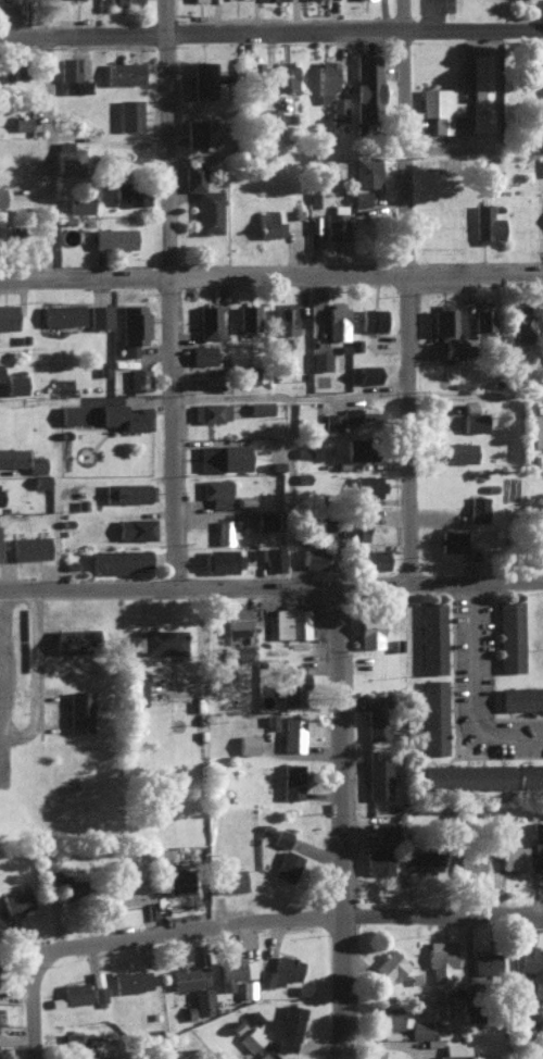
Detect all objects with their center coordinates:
building: (202, 0)
building: (124, 1)
road: (271, 38)
building: (67, 67)
building: (123, 72)
building: (283, 75)
building: (203, 78)
building: (325, 80)
building: (77, 86)
building: (367, 87)
building: (480, 91)
building: (542, 96)
building: (439, 107)
building: (338, 108)
building: (128, 114)
building: (271, 120)
building: (22, 122)
building: (194, 132)
road: (63, 139)
road: (121, 152)
road: (479, 154)
building: (67, 155)
building: (366, 171)
building: (484, 171)
building: (130, 191)
building: (1, 196)
building: (359, 196)
building: (202, 198)
building: (79, 202)
building: (485, 221)
building: (268, 223)
building: (334, 224)
building: (113, 236)
road: (270, 276)
road: (418, 289)
road: (179, 292)
building: (62, 312)
building: (8, 314)
building: (99, 314)
building: (248, 314)
building: (482, 314)
building: (283, 317)
building: (371, 317)
building: (337, 319)
building: (207, 320)
building: (443, 320)
building: (523, 320)
building: (132, 326)
building: (452, 346)
building: (202, 352)
building: (319, 359)
building: (0, 371)
building: (249, 372)
building: (367, 372)
building: (139, 377)
building: (14, 382)
road: (481, 400)
road: (300, 402)
road: (135, 406)
building: (260, 406)
building: (210, 410)
building: (68, 412)
building: (357, 413)
building: (126, 415)
building: (472, 416)
building: (331, 418)
building: (536, 431)
building: (359, 447)
building: (458, 450)
building: (12, 453)
building: (220, 454)
building: (35, 463)
building: (39, 479)
building: (368, 485)
building: (128, 490)
building: (215, 490)
road: (304, 493)
building: (477, 507)
building: (264, 519)
building: (135, 526)
building: (342, 526)
building: (225, 529)
building: (452, 539)
building: (27, 545)
building: (273, 557)
building: (312, 557)
building: (375, 558)
building: (117, 559)
building: (219, 559)
road: (270, 583)
building: (235, 620)
building: (290, 621)
building: (369, 630)
building: (509, 632)
building: (431, 633)
building: (73, 638)
building: (157, 639)
road: (52, 643)
building: (239, 649)
road: (46, 676)
building: (291, 682)
building: (136, 687)
road: (471, 687)
road: (7, 688)
building: (521, 696)
building: (78, 709)
building: (433, 715)
building: (375, 718)
building: (292, 731)
building: (245, 742)
building: (530, 774)
building: (467, 775)
building: (378, 776)
building: (291, 778)
road: (339, 821)
building: (387, 831)
building: (281, 836)
building: (536, 842)
building: (513, 856)
building: (421, 859)
building: (378, 860)
building: (470, 862)
building: (287, 864)
building: (227, 880)
building: (61, 884)
building: (130, 892)
building: (17, 898)
road: (245, 926)
building: (440, 957)
building: (484, 964)
building: (388, 965)
building: (233, 970)
building: (280, 970)
building: (531, 971)
building: (131, 980)
building: (97, 985)
building: (193, 985)
building: (247, 987)
building: (75, 992)
building: (445, 1000)
building: (253, 1016)
building: (389, 1017)
building: (287, 1025)
building: (419, 1027)
building: (251, 1037)
building: (74, 1043)
building: (454, 1050)
building: (378, 1052)
building: (261, 1056)

